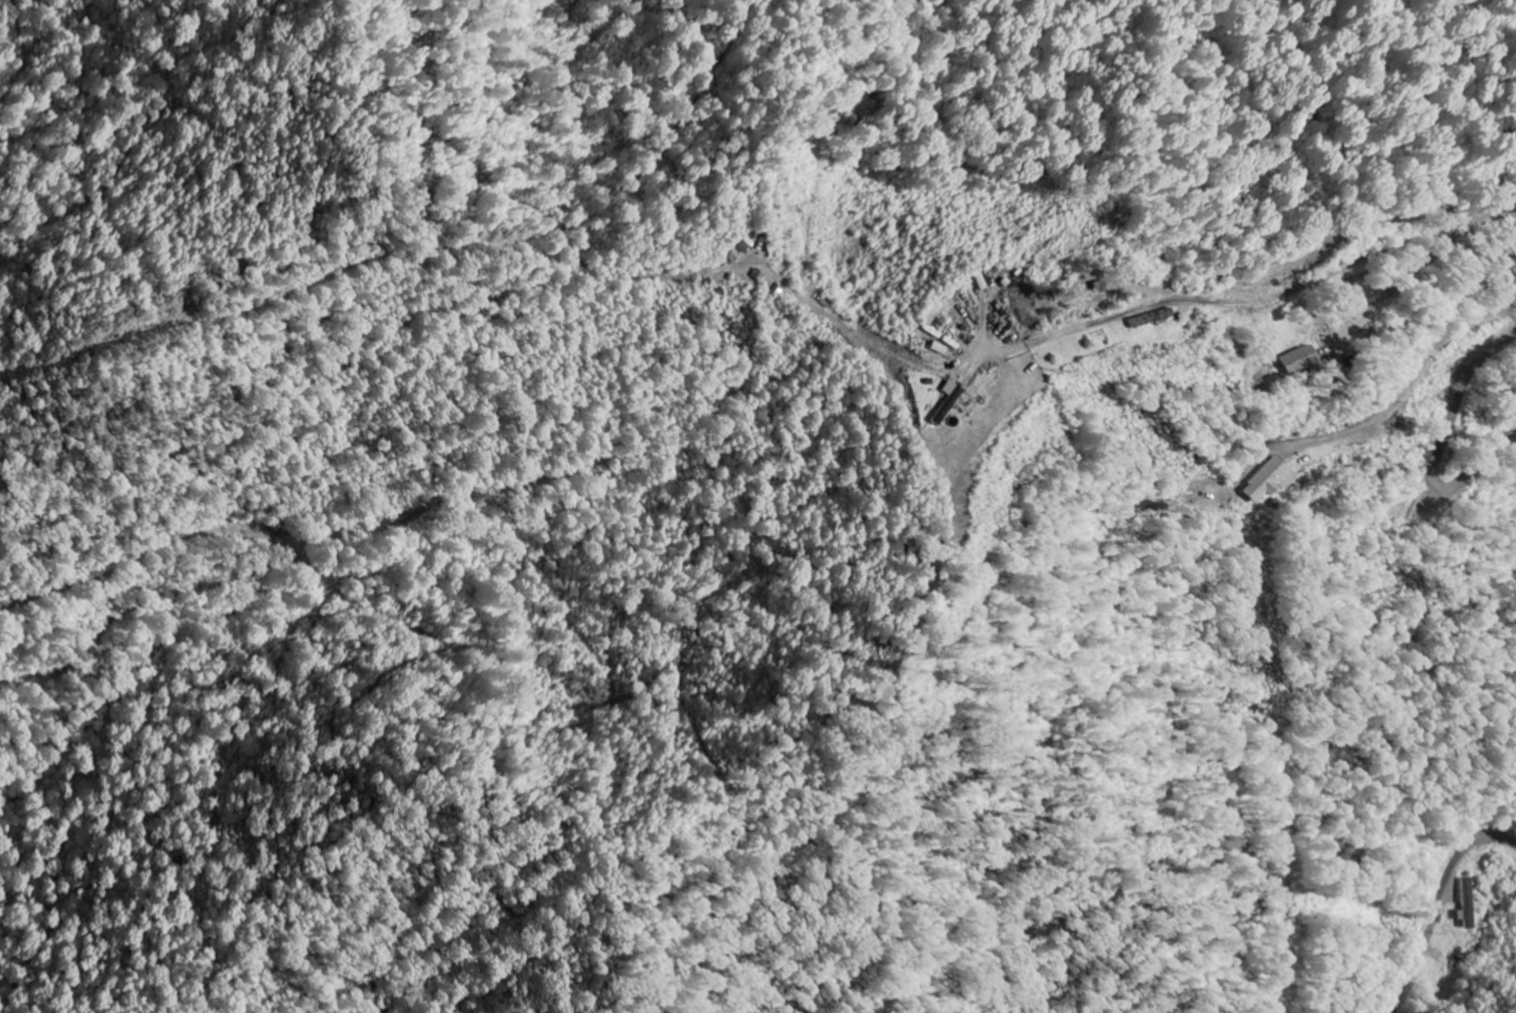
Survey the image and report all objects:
road: (1300, 284)
building: (1137, 320)
building: (1297, 361)
road: (1443, 445)
building: (1265, 483)
building: (1466, 904)
road: (1440, 905)

